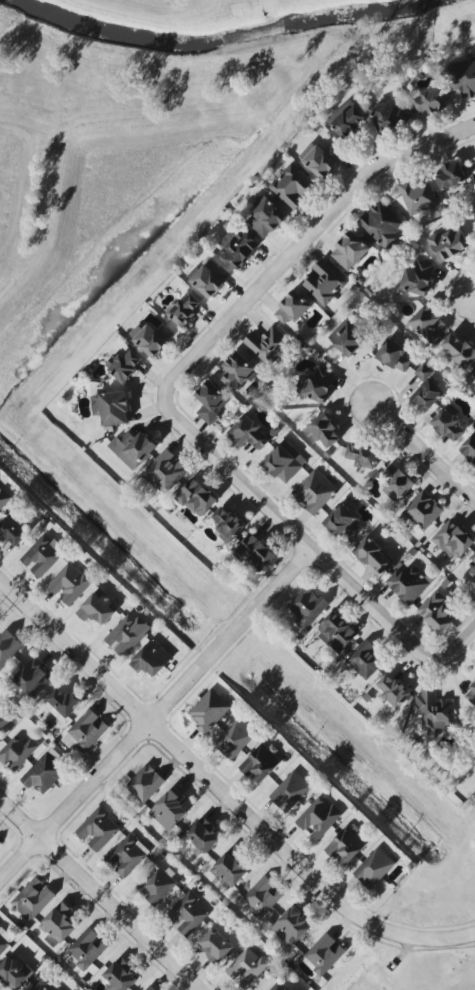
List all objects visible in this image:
building: (463, 79)
building: (430, 101)
building: (390, 117)
building: (350, 120)
building: (322, 159)
building: (452, 176)
building: (293, 187)
building: (418, 198)
building: (267, 219)
building: (382, 225)
road: (300, 244)
building: (449, 244)
building: (238, 249)
building: (350, 252)
building: (418, 277)
building: (211, 278)
building: (324, 283)
road: (473, 290)
building: (293, 308)
building: (185, 310)
building: (428, 325)
building: (348, 338)
building: (152, 339)
building: (267, 345)
building: (460, 351)
building: (396, 356)
building: (126, 366)
building: (237, 370)
building: (474, 376)
building: (316, 386)
building: (428, 389)
building: (211, 402)
building: (112, 408)
building: (449, 424)
building: (322, 432)
building: (250, 433)
road: (421, 446)
building: (133, 449)
building: (469, 450)
building: (363, 456)
building: (284, 462)
building: (165, 472)
road: (235, 478)
building: (396, 484)
building: (315, 492)
building: (197, 498)
building: (4, 499)
building: (423, 511)
building: (229, 523)
building: (344, 524)
building: (12, 532)
building: (453, 541)
building: (257, 552)
building: (43, 555)
building: (374, 556)
building: (473, 558)
building: (473, 573)
building: (410, 583)
building: (70, 584)
building: (308, 607)
building: (98, 608)
road: (374, 609)
building: (438, 613)
building: (336, 633)
building: (126, 637)
building: (8, 647)
road: (460, 647)
building: (152, 659)
building: (364, 661)
building: (34, 678)
building: (393, 692)
building: (471, 695)
building: (62, 704)
building: (209, 711)
building: (434, 711)
road: (156, 714)
building: (4, 720)
building: (86, 732)
building: (235, 739)
building: (18, 752)
building: (259, 763)
building: (44, 773)
building: (145, 784)
road: (224, 791)
building: (290, 792)
building: (169, 810)
building: (319, 818)
building: (98, 830)
building: (204, 837)
building: (0, 844)
building: (347, 845)
building: (127, 856)
building: (230, 869)
building: (374, 869)
building: (157, 885)
road: (99, 893)
building: (263, 897)
building: (33, 899)
building: (188, 915)
building: (58, 926)
building: (292, 928)
building: (4, 941)
building: (216, 946)
building: (86, 949)
building: (325, 954)
building: (247, 968)
building: (13, 974)
building: (119, 977)
building: (42, 983)
building: (281, 986)

